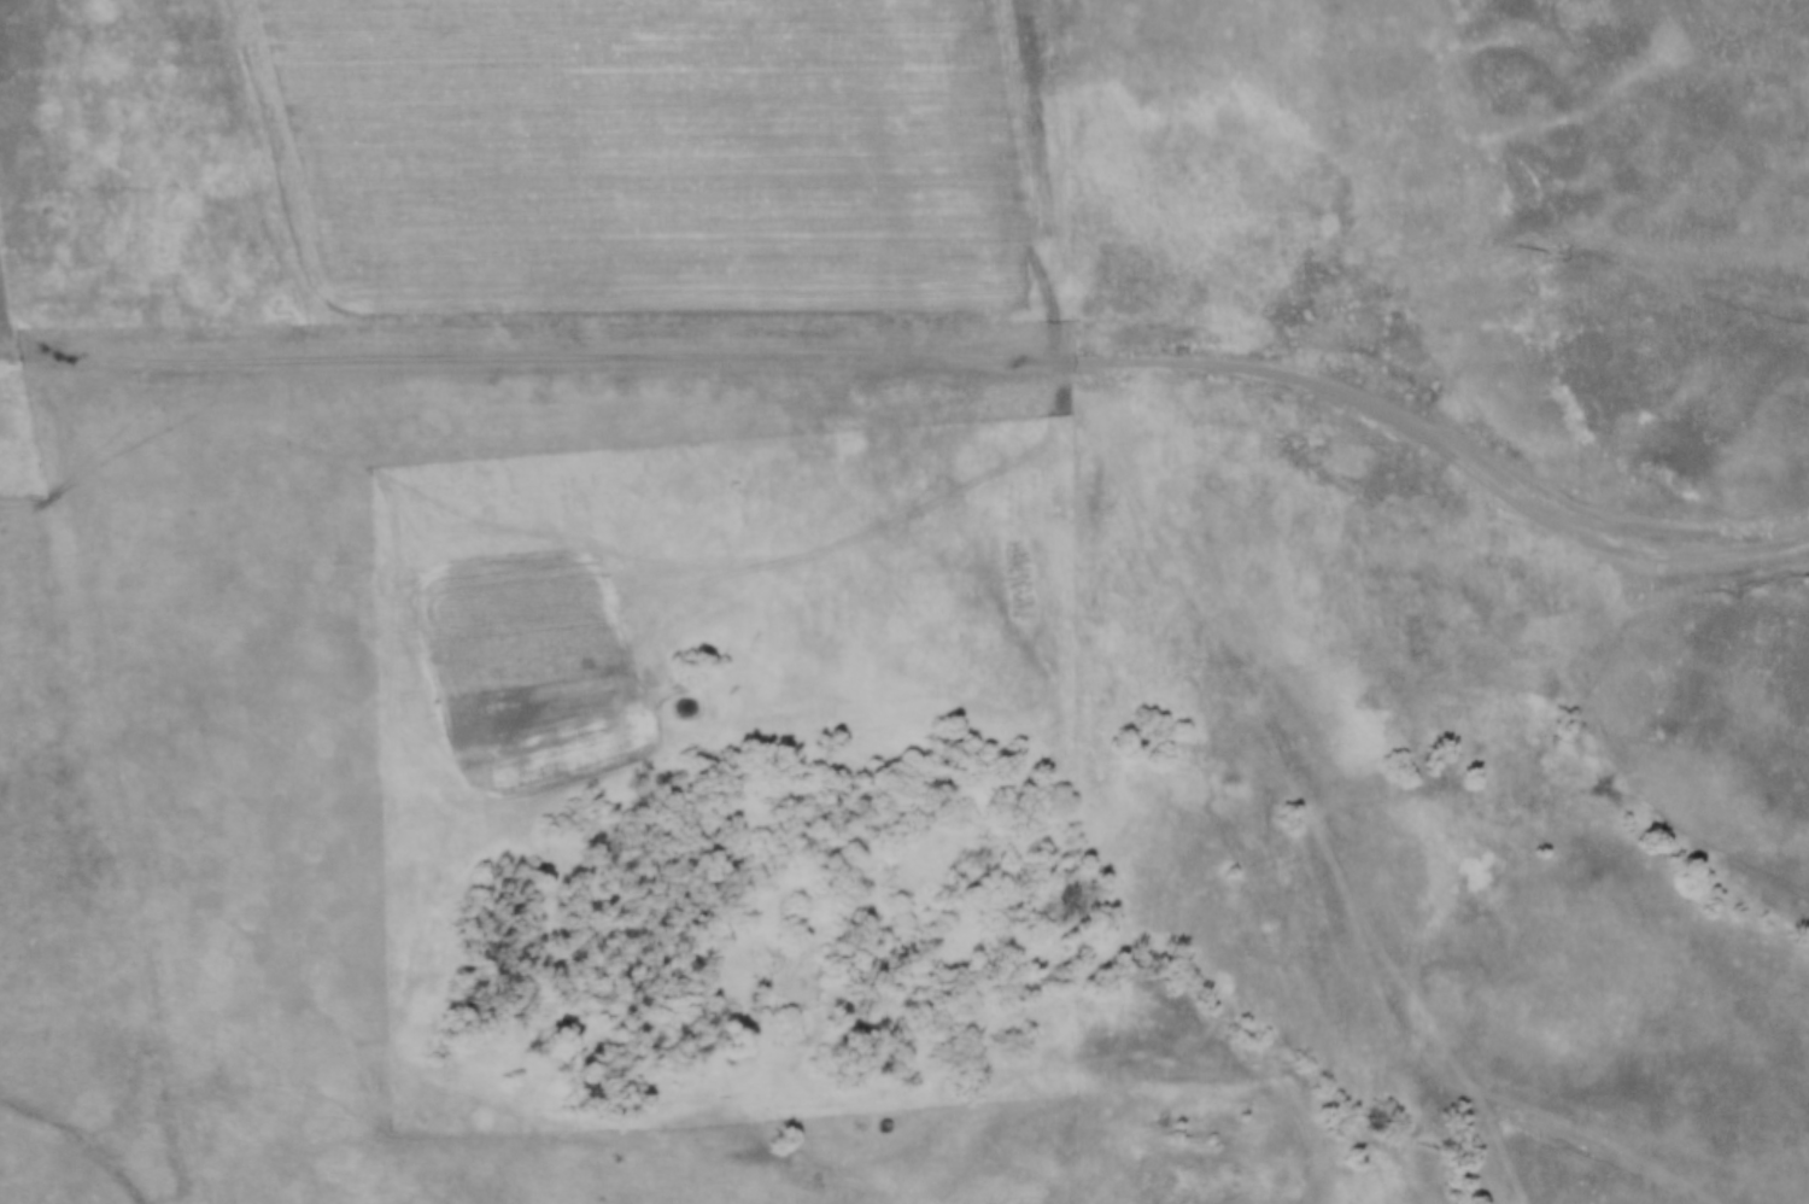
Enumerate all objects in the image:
road: (10, 344)
road: (925, 355)
road: (131, 778)

